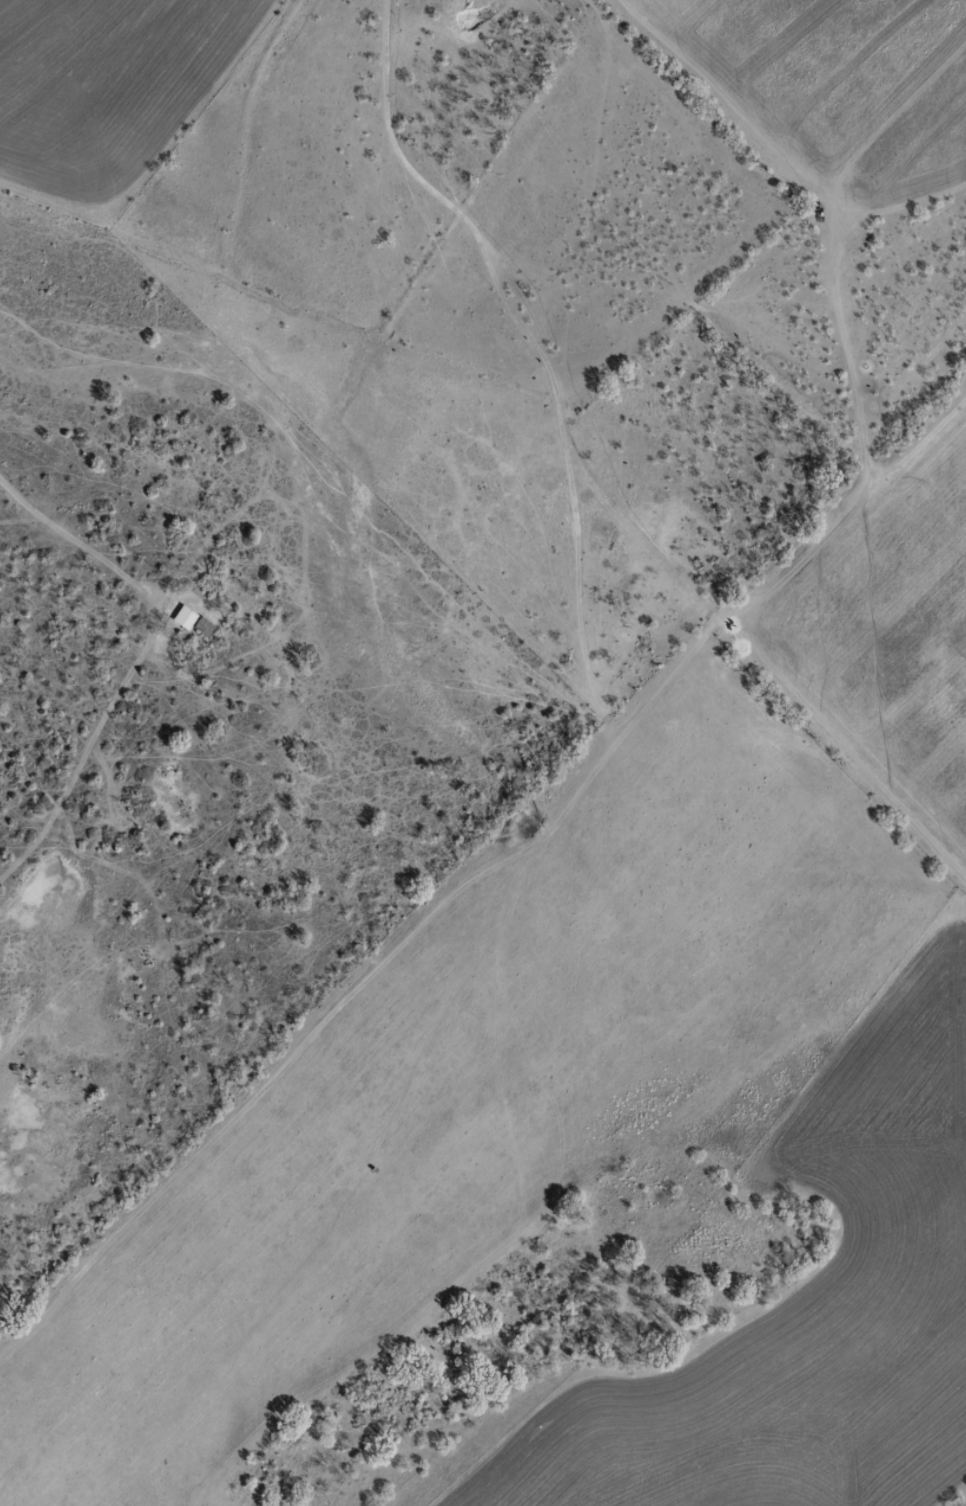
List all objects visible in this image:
crop: (841, 88)
crop: (102, 90)
building: (886, 273)
road: (2, 502)
building: (192, 620)
crop: (887, 627)
crop: (456, 1096)
crop: (800, 1318)

